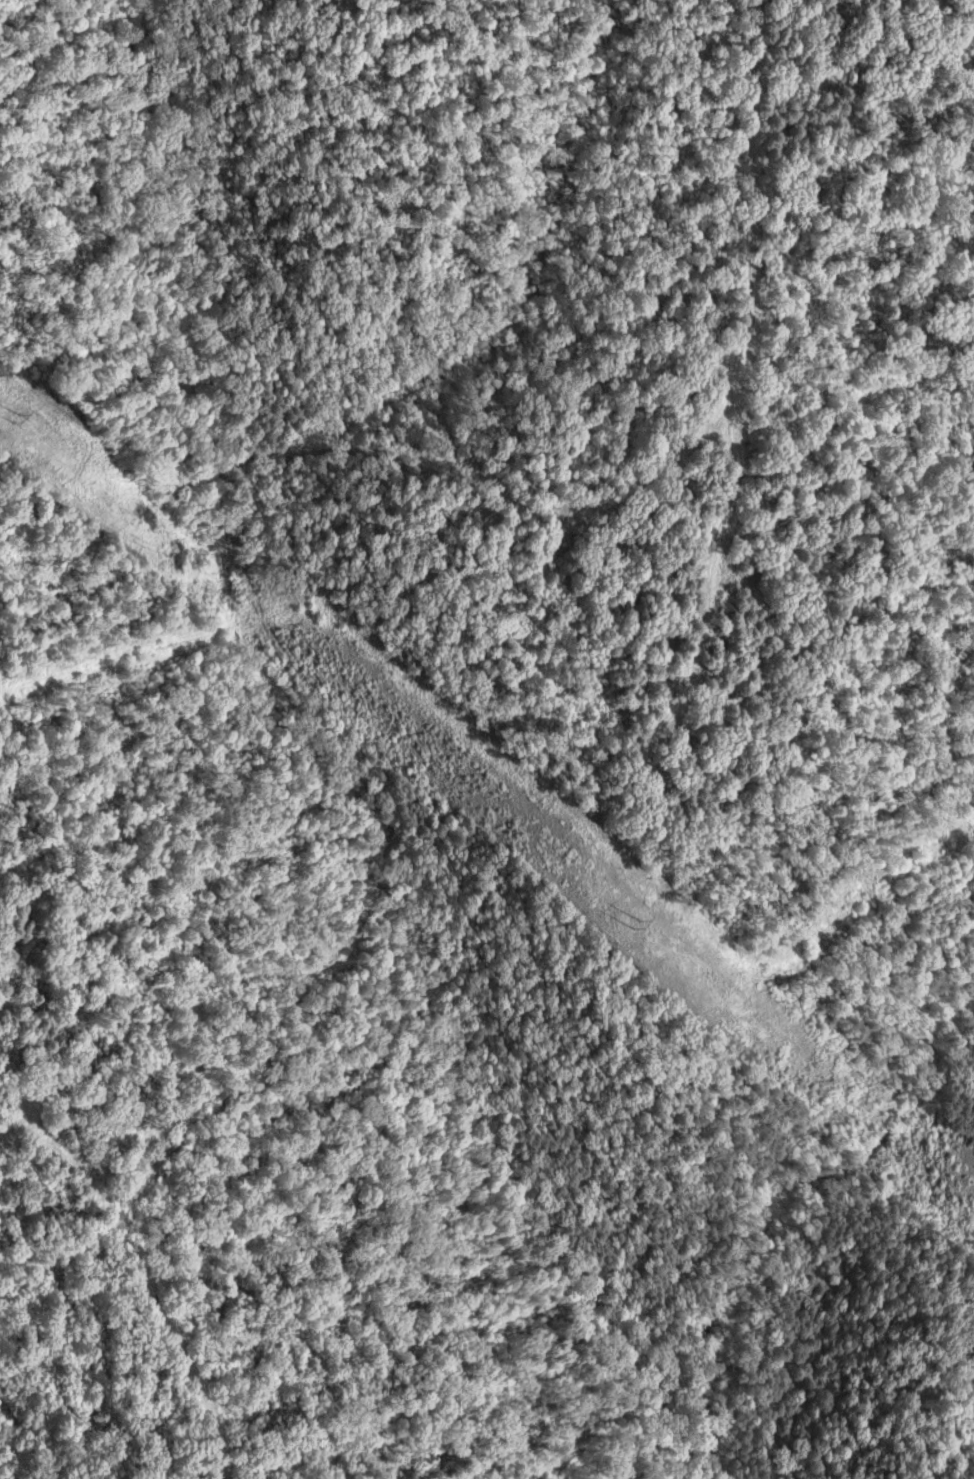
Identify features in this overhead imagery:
power tower: (17, 422)
power tower: (637, 926)

